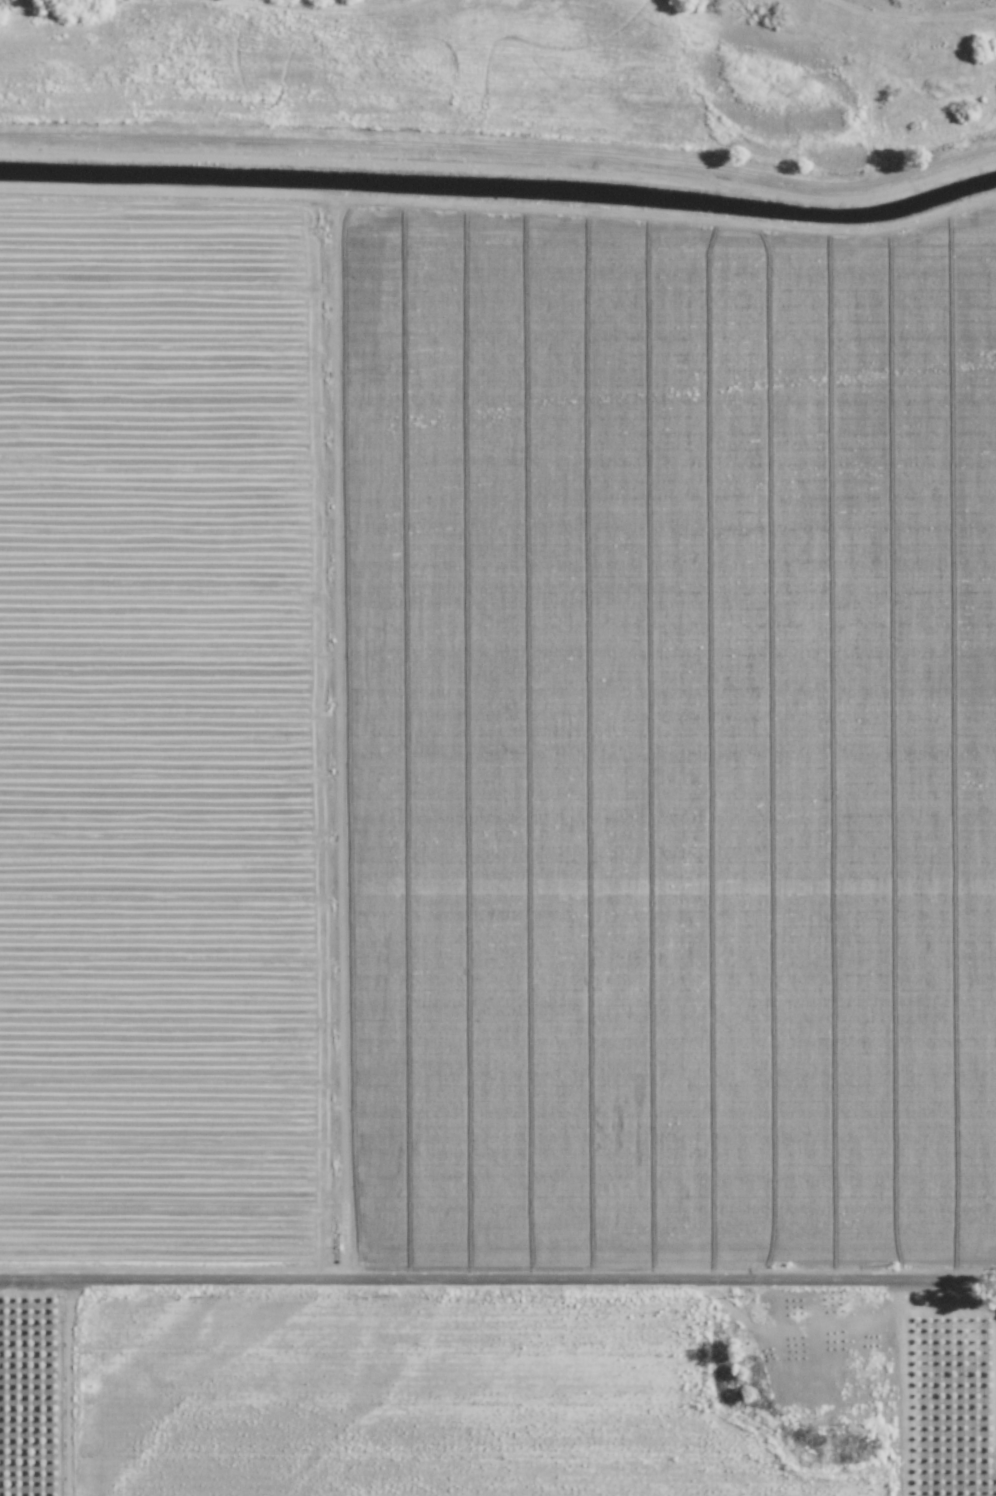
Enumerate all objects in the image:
crop: (495, 850)
road: (498, 1279)
road: (82, 1387)

